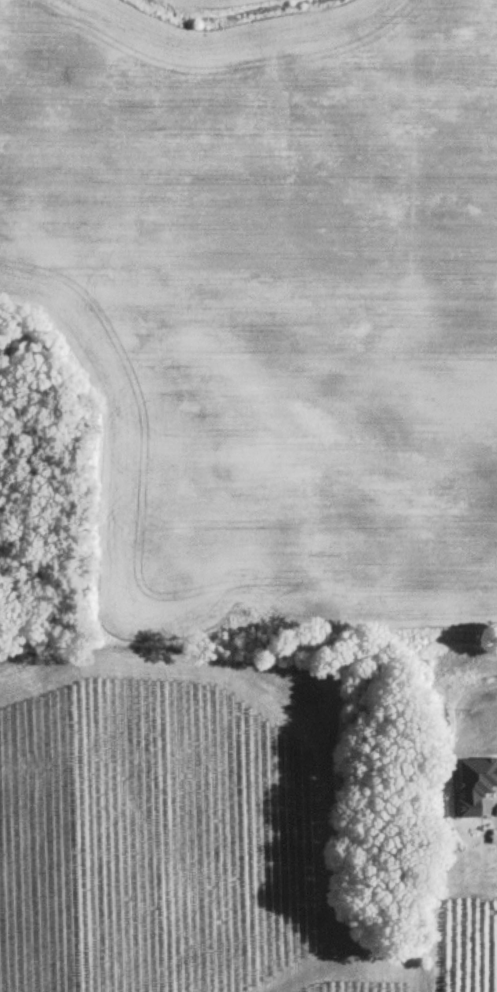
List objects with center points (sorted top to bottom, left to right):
building: (475, 783)

